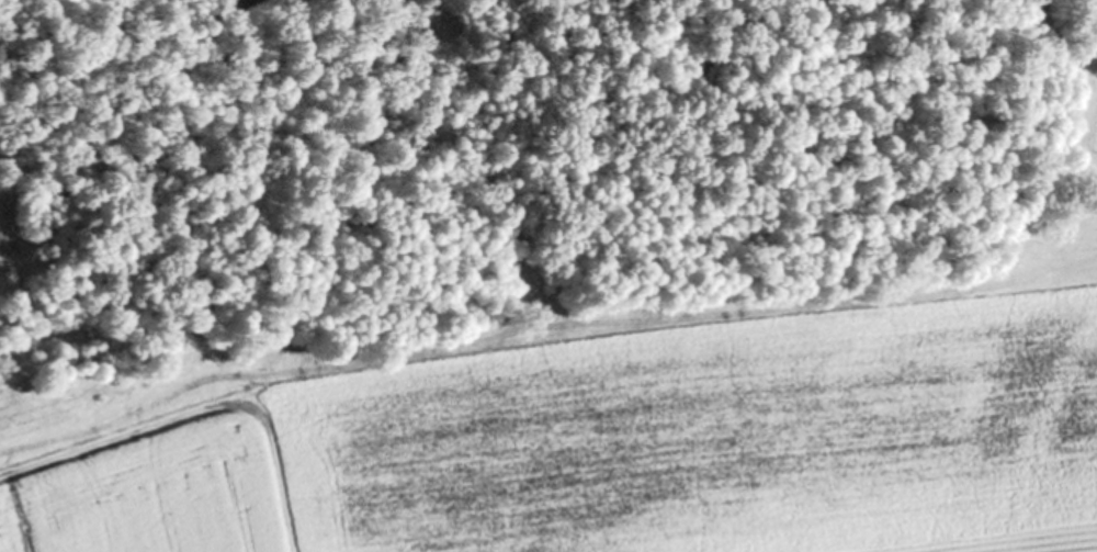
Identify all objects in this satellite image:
crop: (598, 436)

